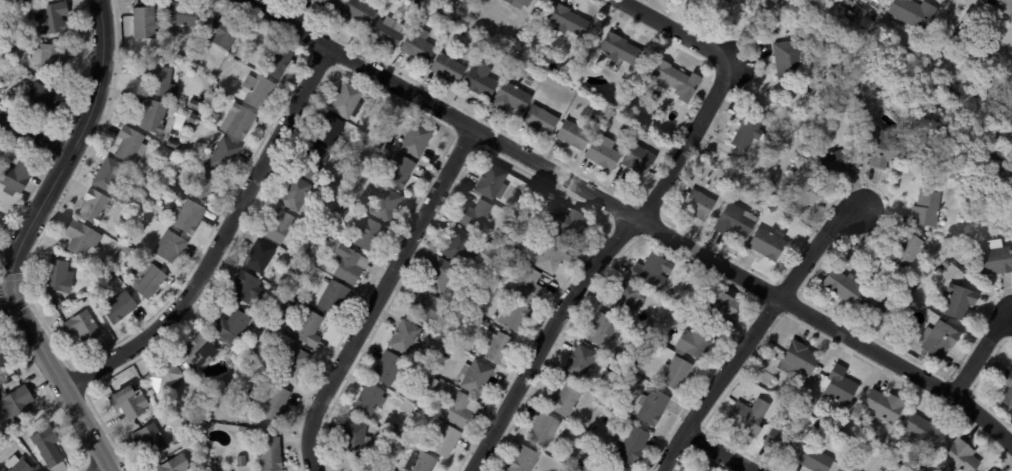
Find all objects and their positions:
road: (1011, 0)
building: (518, 2)
building: (873, 2)
building: (326, 4)
building: (712, 5)
building: (356, 11)
building: (914, 12)
building: (183, 14)
building: (421, 15)
building: (15, 16)
building: (459, 16)
building: (844, 16)
building: (50, 17)
building: (567, 20)
building: (144, 22)
road: (675, 31)
building: (384, 32)
building: (462, 32)
building: (222, 33)
building: (418, 45)
building: (971, 48)
building: (619, 49)
building: (2, 54)
building: (49, 55)
building: (274, 60)
building: (504, 60)
building: (789, 60)
building: (10, 61)
building: (611, 63)
building: (447, 67)
building: (31, 76)
building: (668, 77)
building: (160, 80)
building: (480, 80)
building: (257, 90)
building: (510, 97)
building: (41, 98)
building: (347, 101)
building: (193, 104)
building: (153, 116)
building: (192, 116)
building: (593, 116)
building: (540, 118)
building: (237, 122)
building: (629, 128)
building: (328, 130)
building: (748, 131)
building: (205, 132)
road: (33, 135)
building: (573, 135)
building: (416, 139)
road: (686, 140)
building: (129, 144)
building: (172, 144)
road: (70, 147)
building: (887, 151)
building: (1, 152)
building: (224, 154)
building: (602, 154)
building: (916, 157)
building: (638, 159)
building: (839, 161)
building: (311, 163)
building: (397, 170)
building: (158, 174)
building: (719, 174)
building: (107, 176)
building: (13, 178)
building: (491, 182)
building: (204, 185)
building: (802, 193)
building: (294, 194)
building: (697, 204)
building: (386, 205)
building: (93, 206)
building: (772, 208)
building: (926, 208)
road: (632, 213)
building: (474, 215)
building: (188, 216)
building: (734, 219)
building: (572, 226)
building: (278, 228)
building: (366, 234)
building: (80, 237)
road: (222, 238)
building: (767, 242)
building: (501, 243)
building: (457, 244)
building: (168, 247)
road: (816, 249)
building: (126, 250)
building: (872, 250)
building: (906, 250)
building: (942, 250)
building: (549, 254)
building: (258, 255)
building: (994, 258)
building: (947, 263)
building: (348, 264)
building: (649, 272)
building: (495, 274)
building: (439, 275)
building: (57, 276)
building: (148, 280)
building: (842, 285)
building: (528, 286)
building: (246, 288)
building: (507, 289)
road: (6, 290)
road: (378, 294)
building: (331, 296)
building: (626, 298)
building: (959, 301)
building: (58, 303)
building: (877, 305)
building: (426, 306)
building: (118, 307)
building: (719, 308)
building: (513, 315)
building: (674, 317)
building: (266, 318)
building: (81, 324)
building: (232, 326)
building: (649, 327)
building: (307, 328)
building: (598, 328)
road: (548, 335)
building: (404, 337)
building: (939, 339)
building: (695, 341)
building: (1, 347)
building: (498, 347)
building: (226, 348)
building: (197, 352)
road: (983, 353)
building: (798, 358)
building: (2, 359)
building: (581, 363)
building: (294, 364)
building: (388, 369)
building: (674, 373)
building: (164, 375)
building: (475, 377)
road: (61, 380)
road: (721, 382)
building: (432, 385)
building: (839, 385)
building: (1007, 388)
building: (369, 400)
building: (564, 400)
building: (600, 401)
building: (129, 402)
building: (274, 403)
building: (14, 404)
building: (651, 406)
building: (788, 406)
building: (883, 407)
building: (459, 409)
building: (748, 417)
building: (394, 426)
building: (243, 429)
building: (543, 430)
building: (925, 431)
building: (149, 438)
building: (353, 439)
building: (443, 440)
building: (779, 441)
building: (383, 444)
building: (631, 444)
building: (895, 444)
building: (195, 448)
building: (47, 449)
road: (720, 451)
building: (267, 454)
building: (961, 456)
building: (815, 459)
building: (240, 460)
building: (524, 460)
building: (562, 460)
building: (424, 462)
building: (19, 465)
building: (174, 465)
building: (852, 467)
building: (370, 468)
building: (616, 468)
road: (107, 469)
building: (602, 469)
building: (392, 470)
building: (699, 470)
building: (994, 470)

